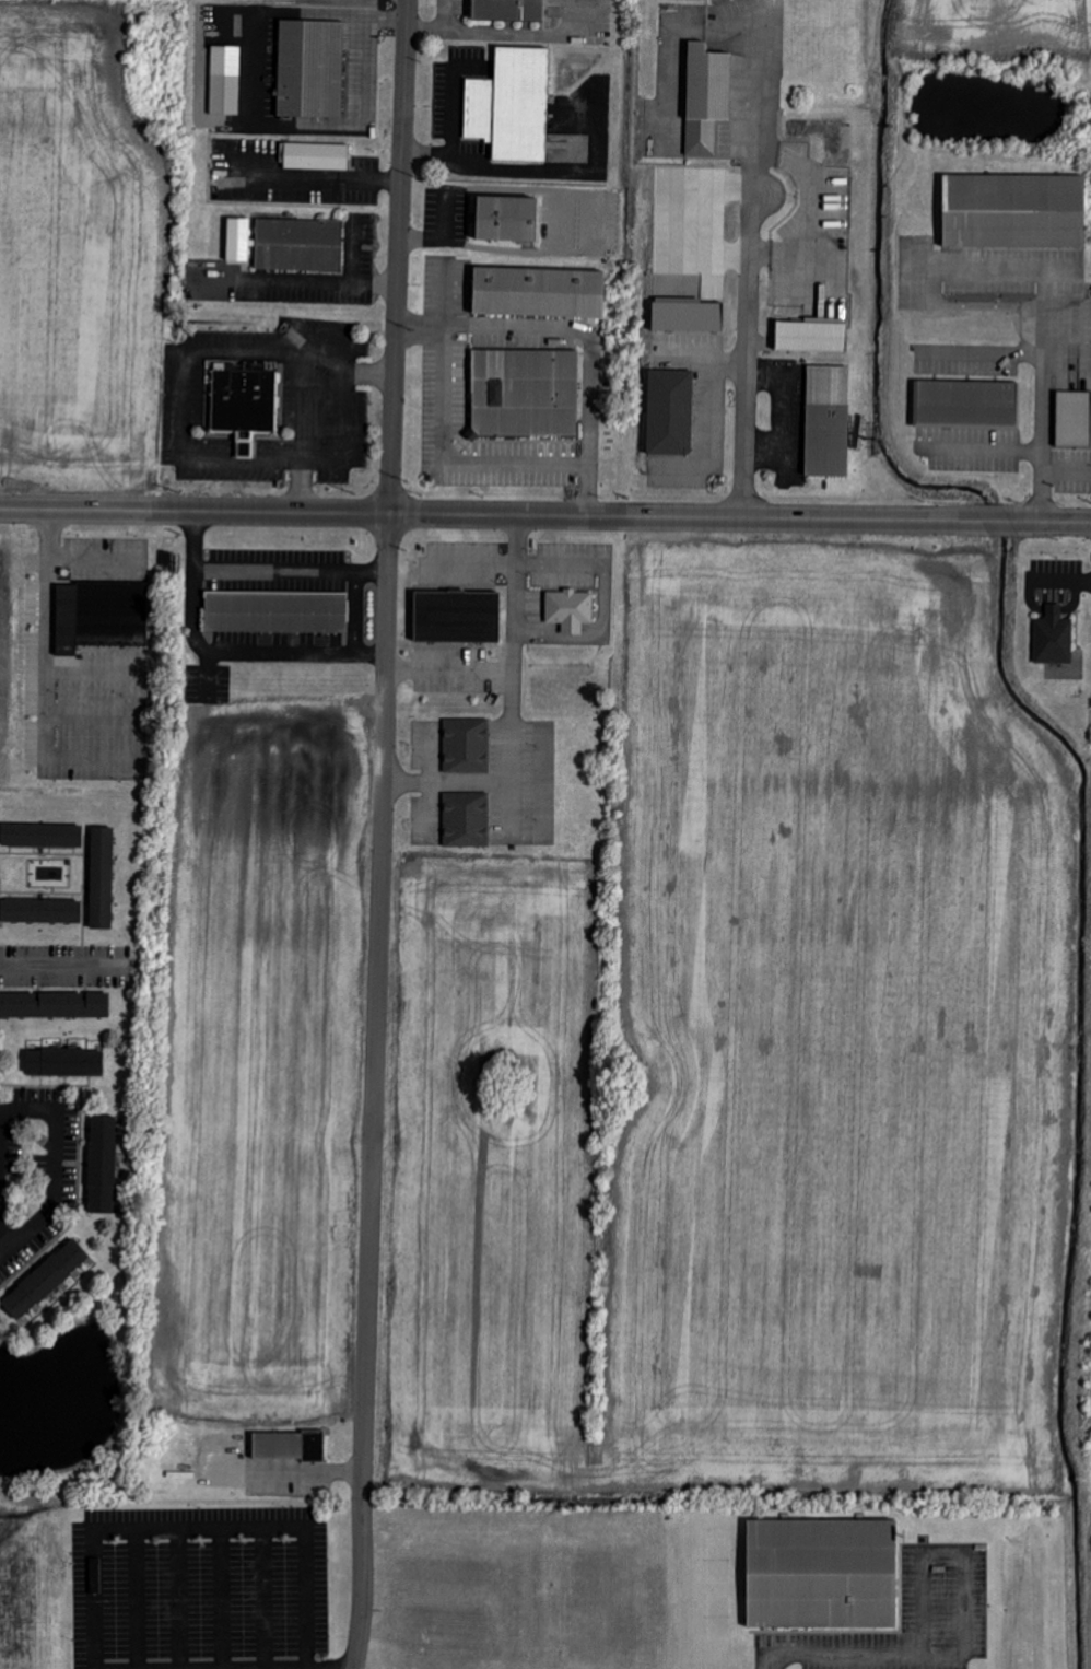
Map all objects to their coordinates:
building: (507, 9)
building: (312, 69)
building: (225, 80)
building: (706, 97)
road: (250, 103)
building: (512, 105)
road: (759, 120)
road: (449, 131)
building: (316, 156)
road: (317, 176)
building: (1013, 211)
building: (506, 219)
building: (237, 241)
building: (298, 245)
road: (350, 249)
road: (318, 278)
building: (538, 293)
building: (688, 317)
road: (580, 330)
building: (811, 337)
road: (313, 349)
road: (368, 371)
road: (747, 381)
building: (525, 394)
building: (967, 404)
building: (243, 405)
building: (670, 412)
road: (1036, 418)
building: (1074, 419)
building: (828, 421)
road: (439, 432)
road: (544, 516)
road: (95, 552)
road: (289, 575)
road: (1058, 577)
building: (570, 610)
building: (277, 611)
building: (101, 616)
building: (456, 618)
building: (1054, 638)
road: (223, 653)
road: (448, 676)
road: (48, 677)
road: (511, 712)
building: (467, 746)
building: (466, 820)
road: (382, 834)
building: (42, 837)
building: (102, 879)
building: (40, 912)
road: (64, 968)
building: (55, 1006)
building: (64, 1063)
road: (52, 1163)
building: (102, 1166)
building: (45, 1281)
building: (288, 1445)
road: (201, 1528)
road: (967, 1555)
building: (821, 1575)
road: (842, 1657)
road: (266, 1668)

